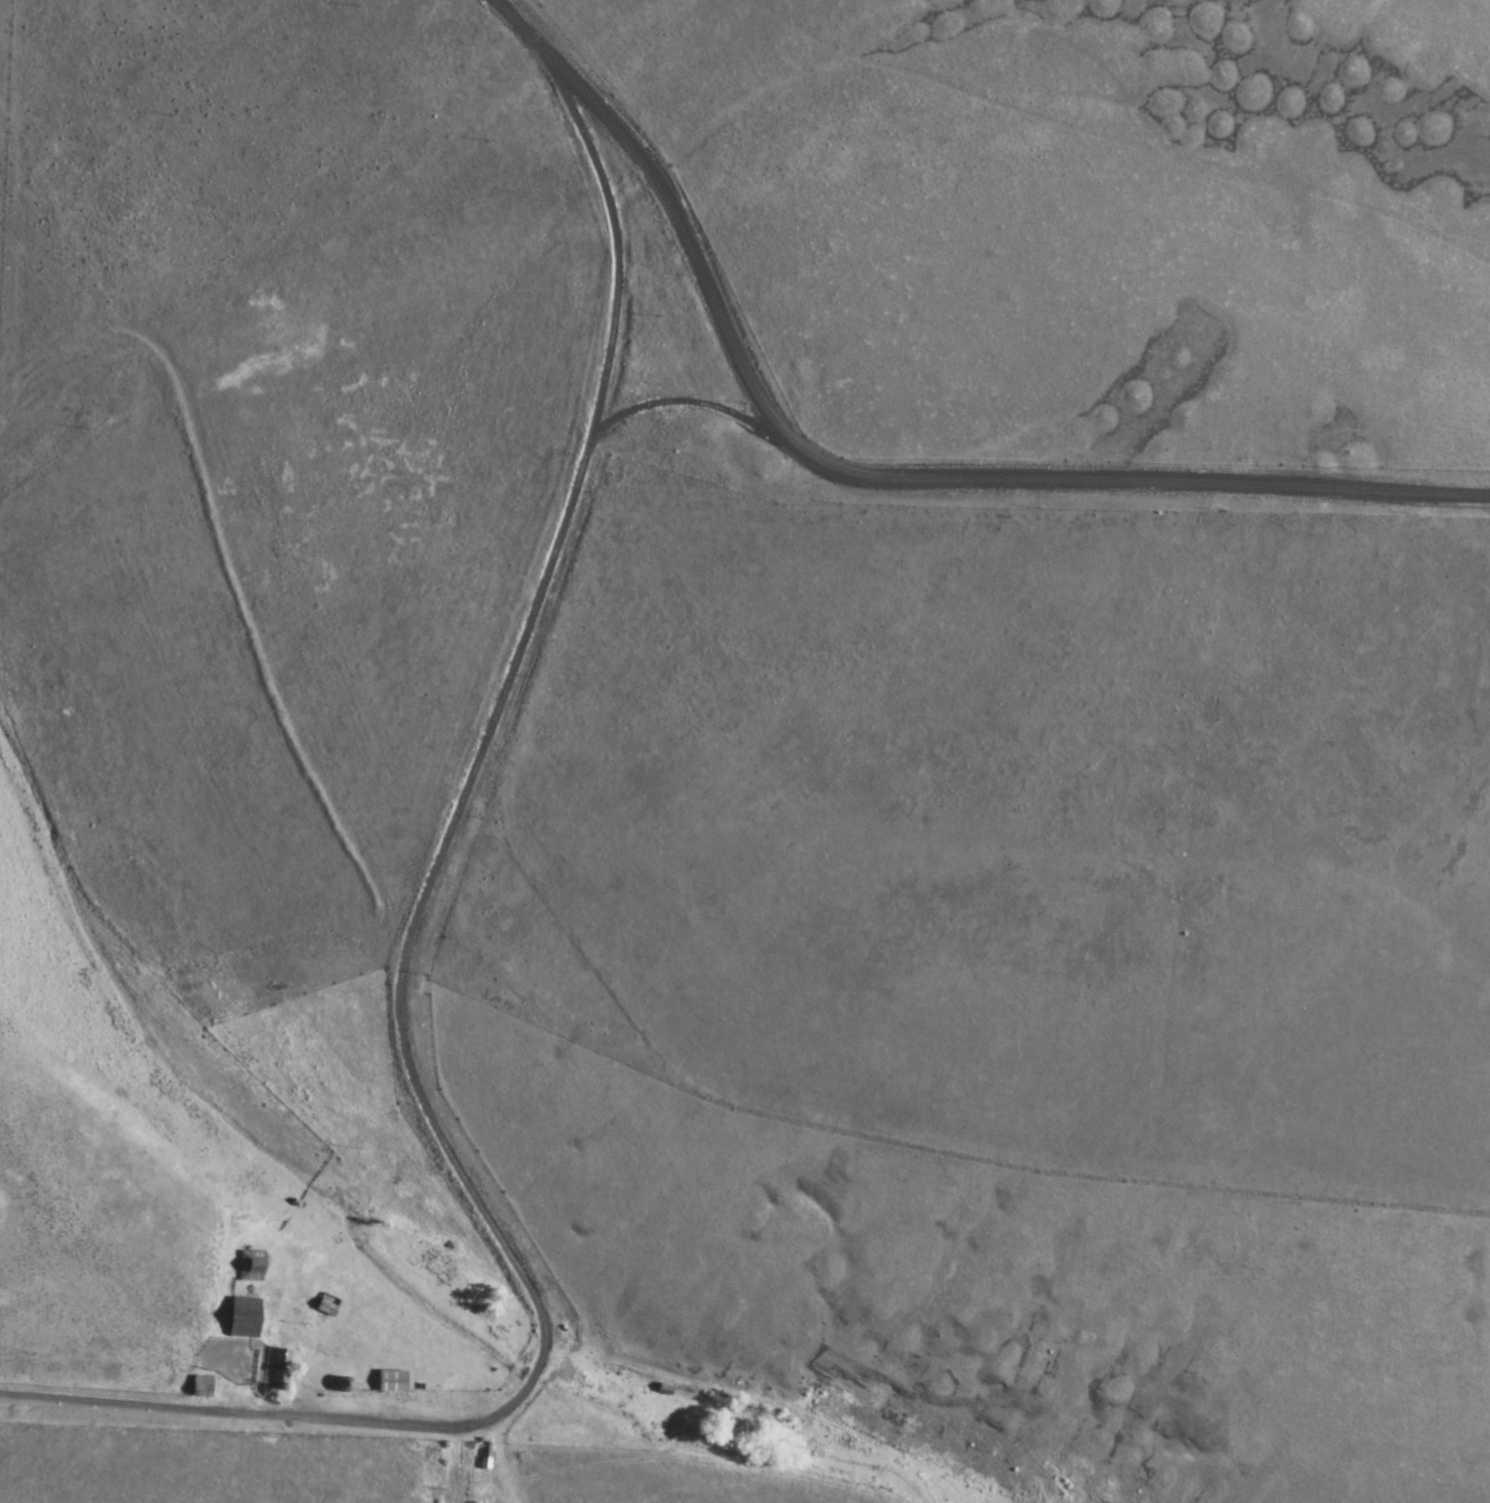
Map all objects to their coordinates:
road: (681, 404)
road: (866, 473)
road: (434, 993)
building: (250, 1266)
building: (327, 1303)
building: (242, 1318)
building: (280, 1369)
building: (249, 1380)
building: (390, 1381)
building: (343, 1384)
building: (201, 1386)

